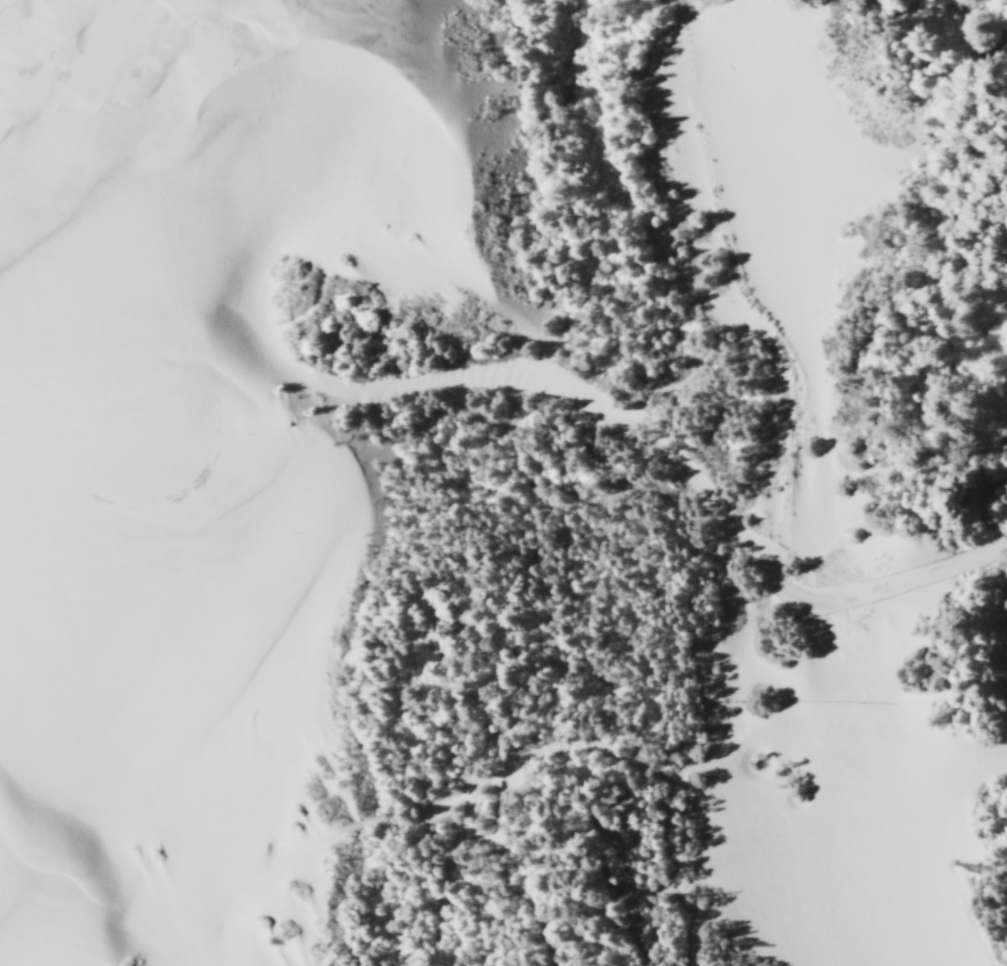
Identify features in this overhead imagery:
road: (997, 26)

